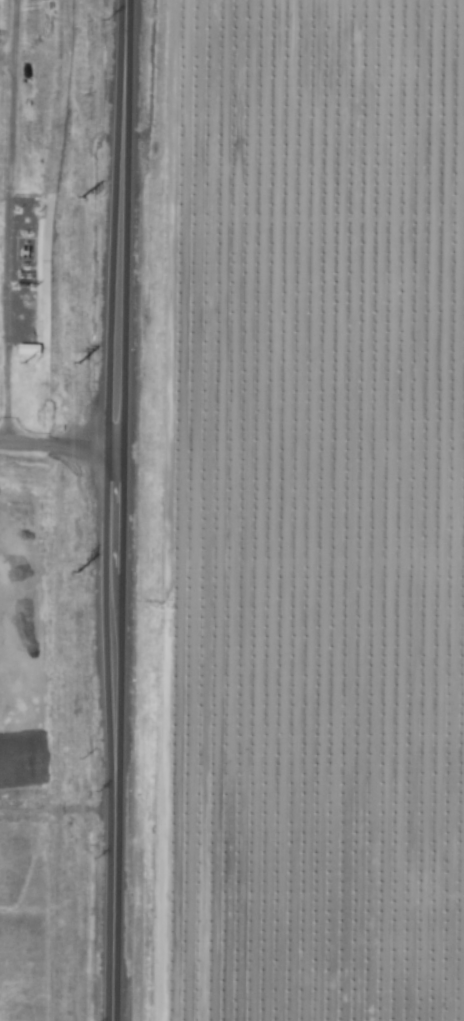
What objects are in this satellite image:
road: (58, 439)
road: (115, 510)
road: (25, 738)

